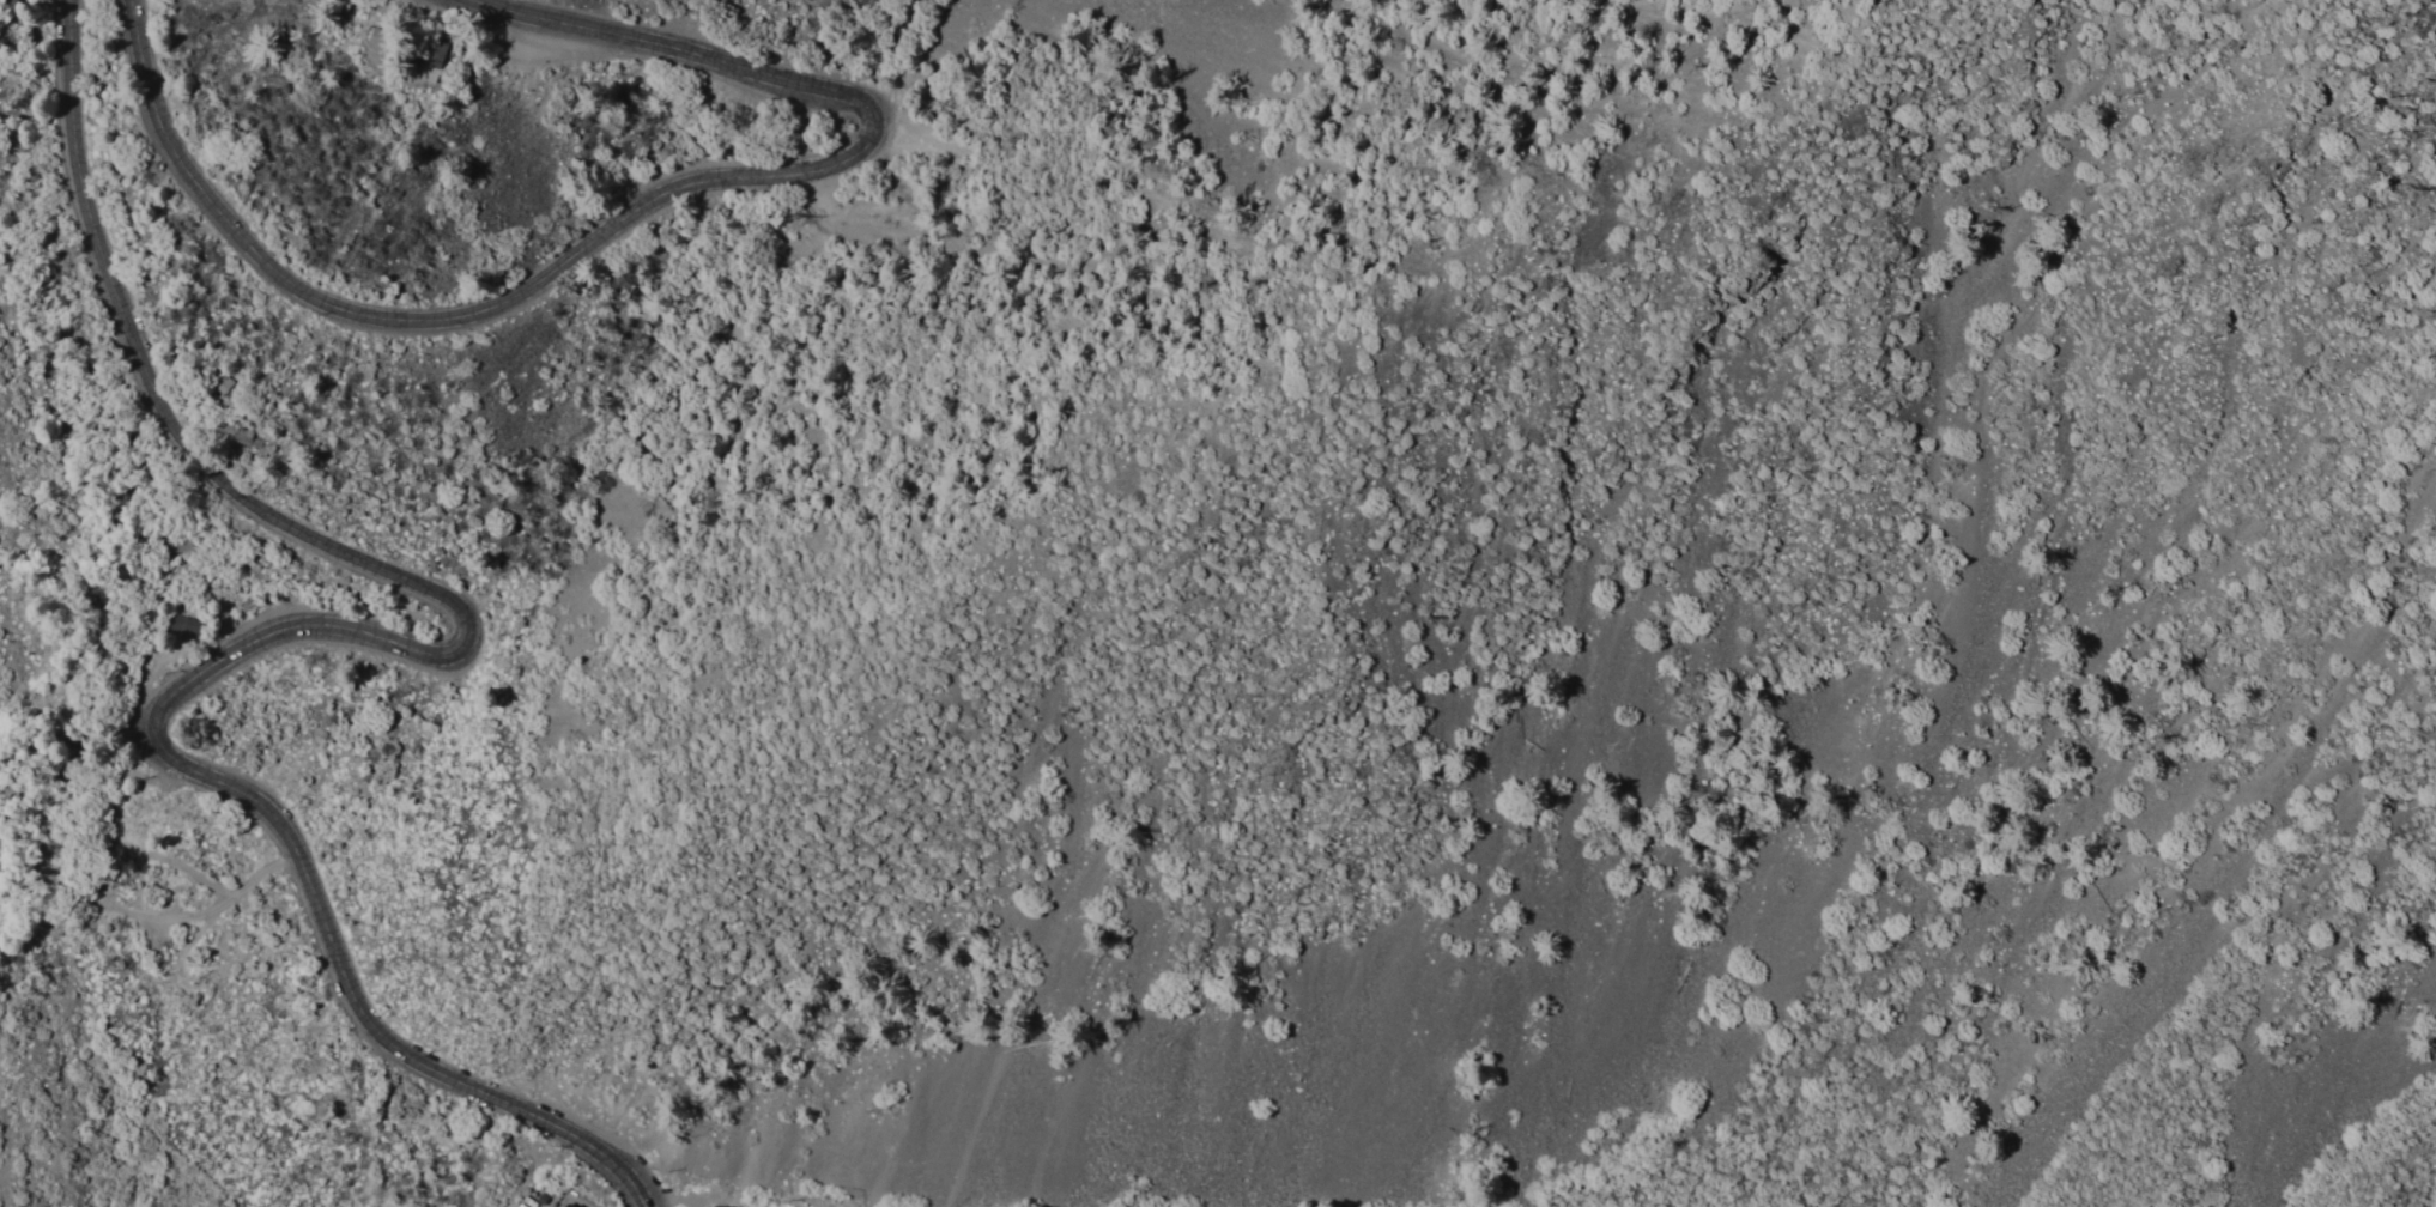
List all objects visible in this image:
road: (491, 46)
building: (428, 62)
road: (622, 217)
building: (225, 382)
building: (238, 442)
road: (345, 631)
road: (111, 906)
road: (702, 1203)
building: (569, 1205)
building: (564, 1206)

